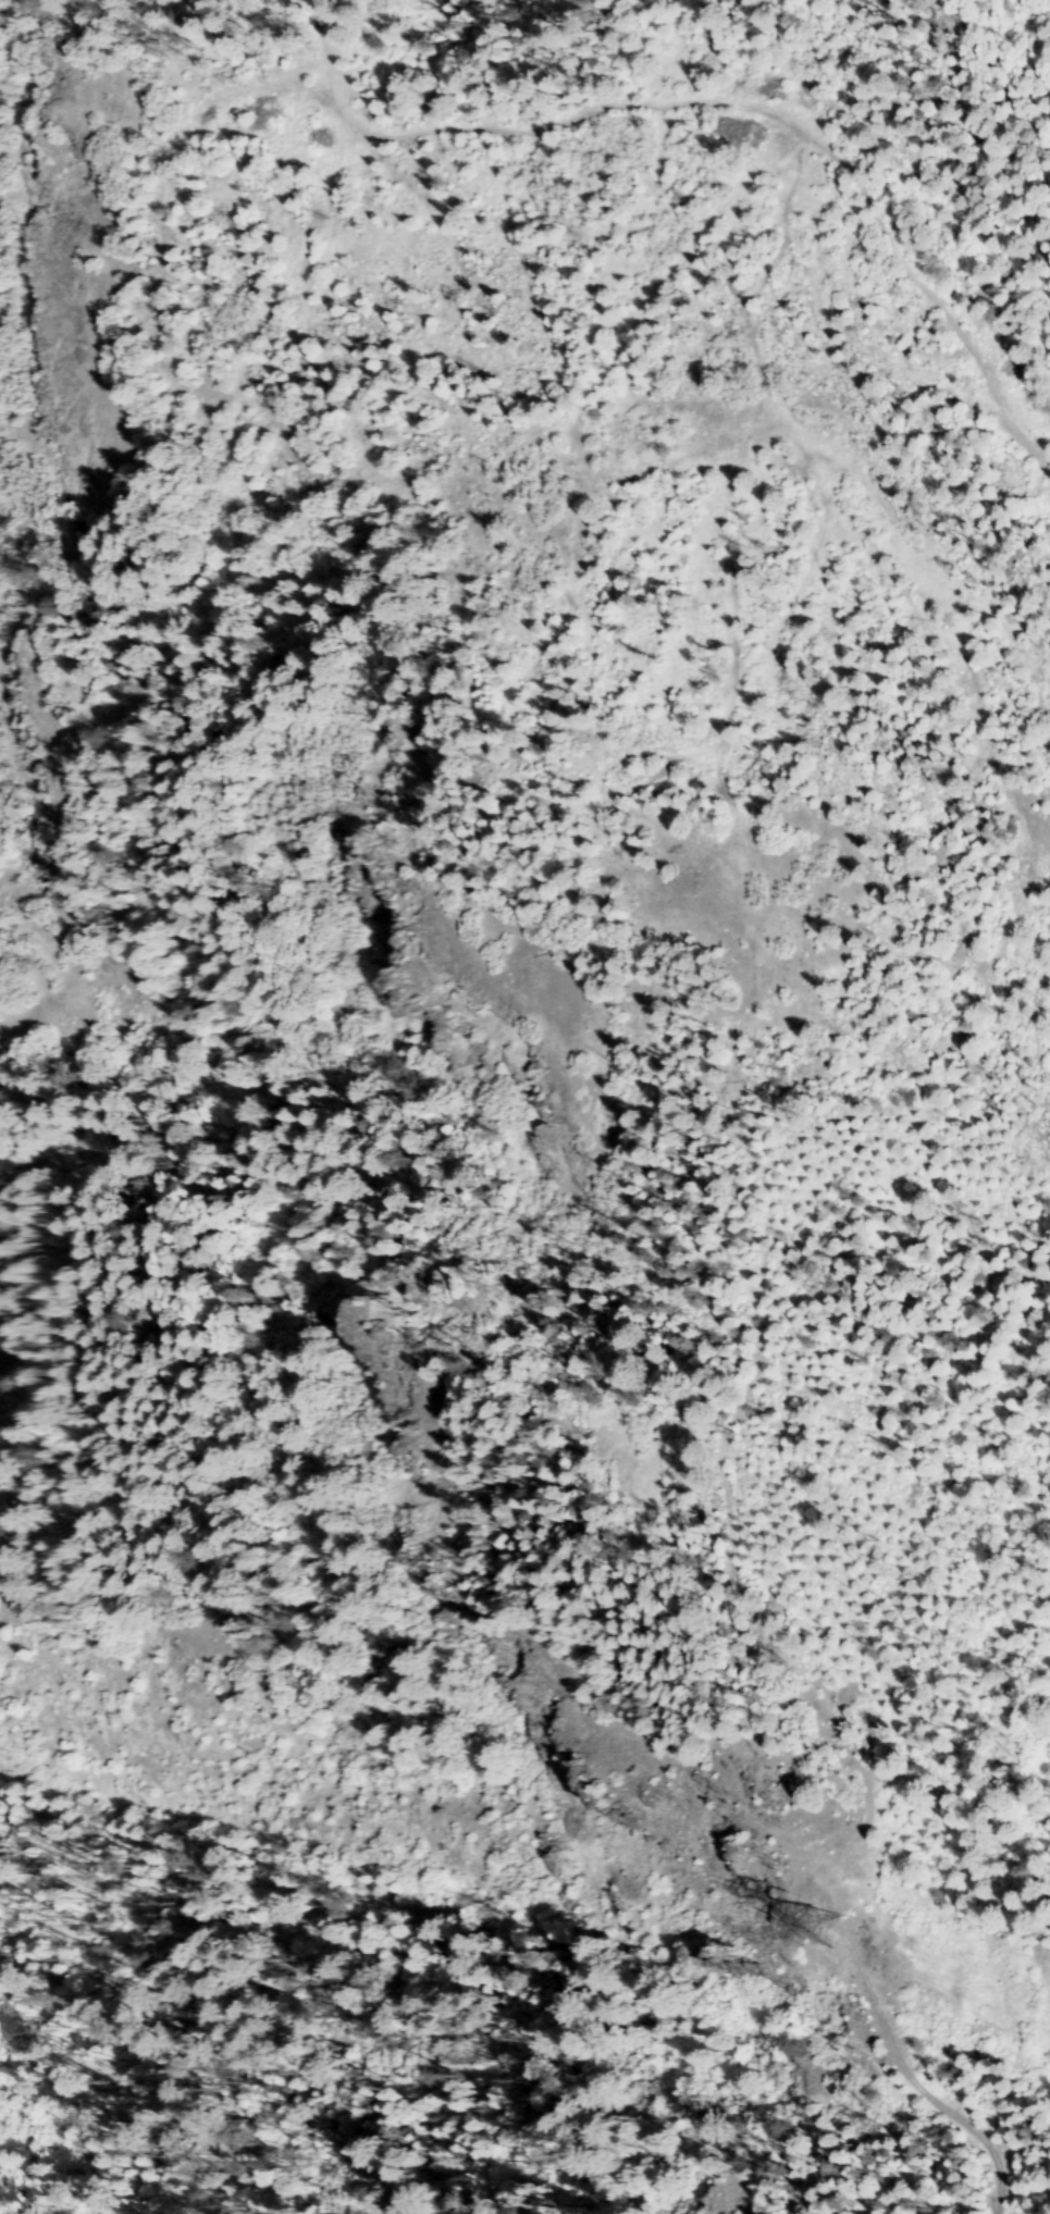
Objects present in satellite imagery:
power tower: (827, 1922)
road: (925, 2094)

